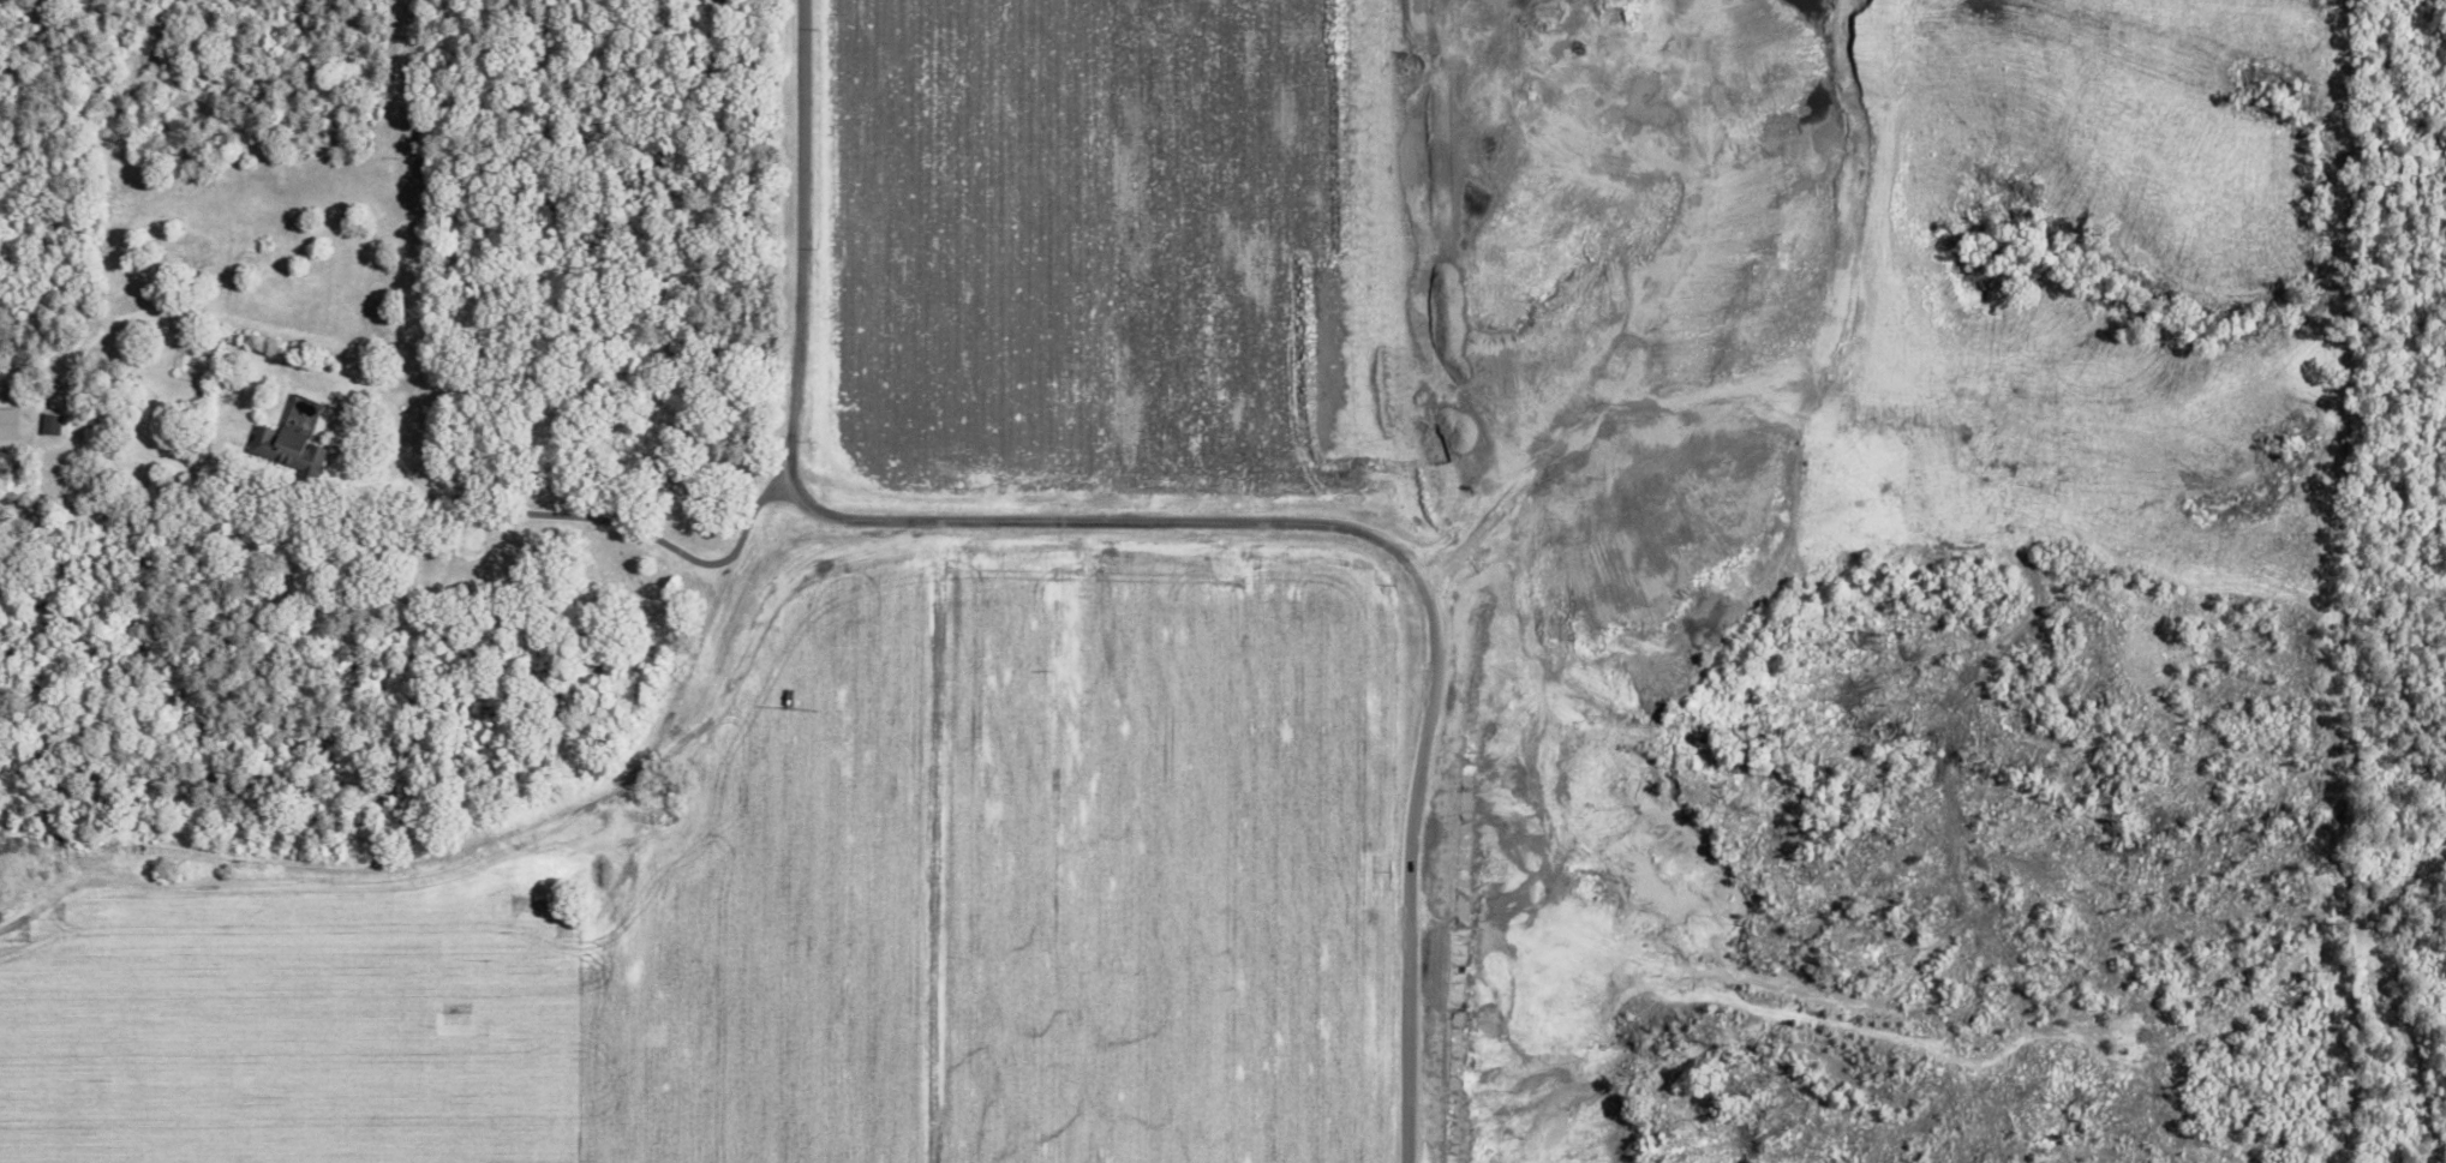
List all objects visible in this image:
building: (8, 424)
building: (53, 424)
road: (568, 514)
road: (1159, 526)

